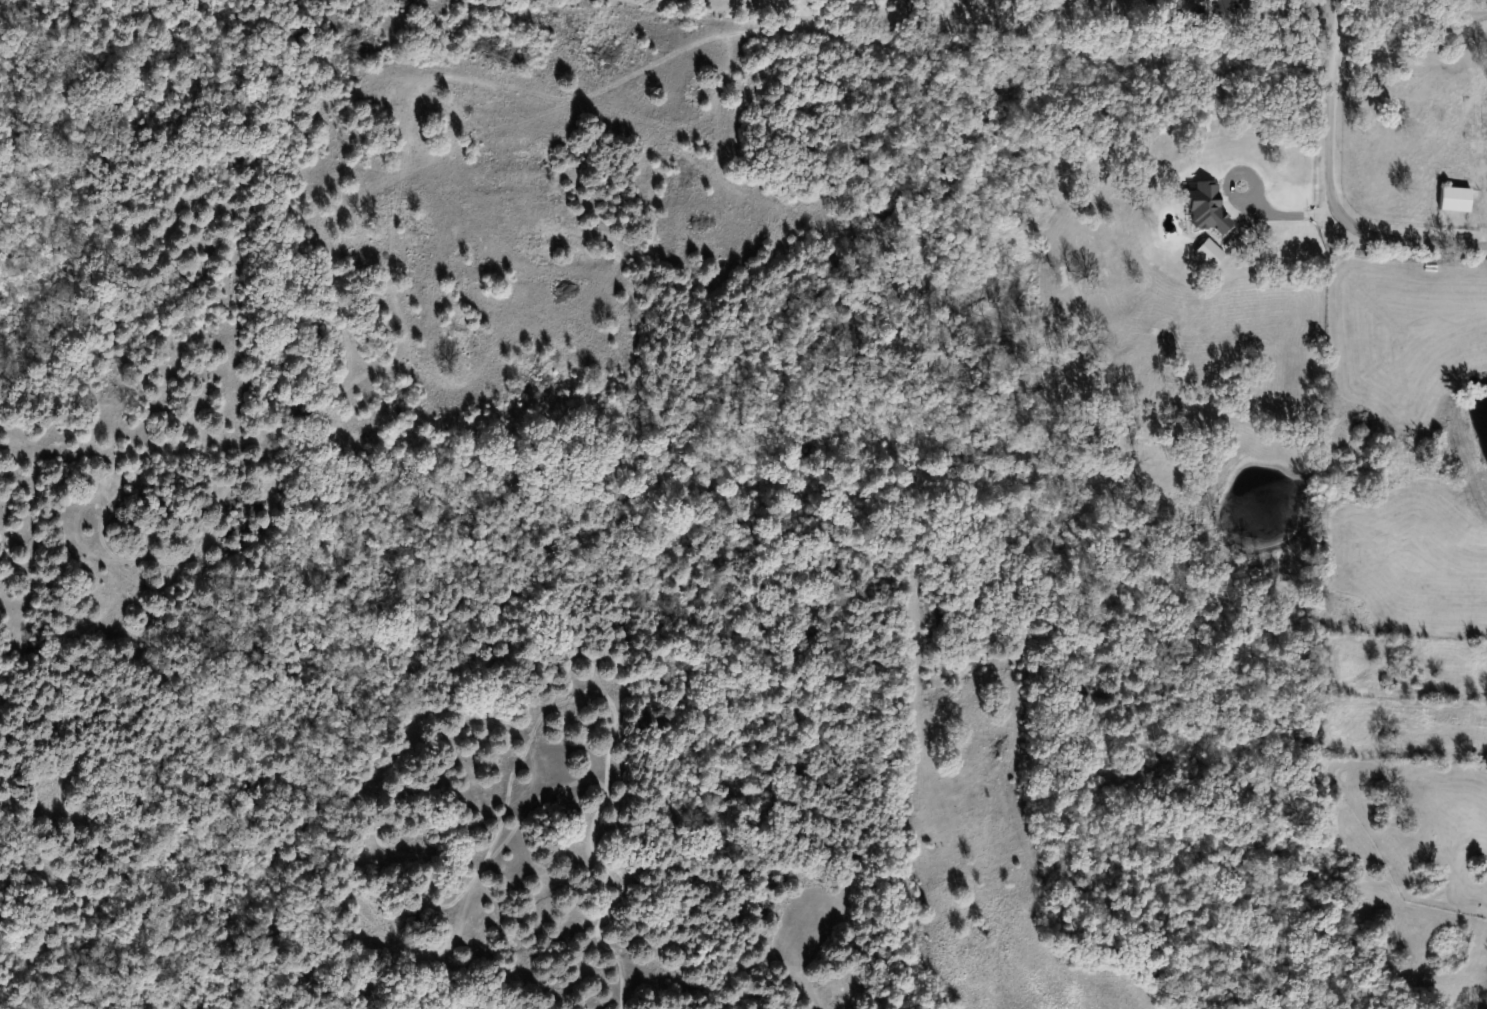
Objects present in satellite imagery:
building: (1227, 7)
road: (1356, 29)
road: (1328, 101)
building: (1454, 200)
road: (1247, 201)
road: (1401, 239)

